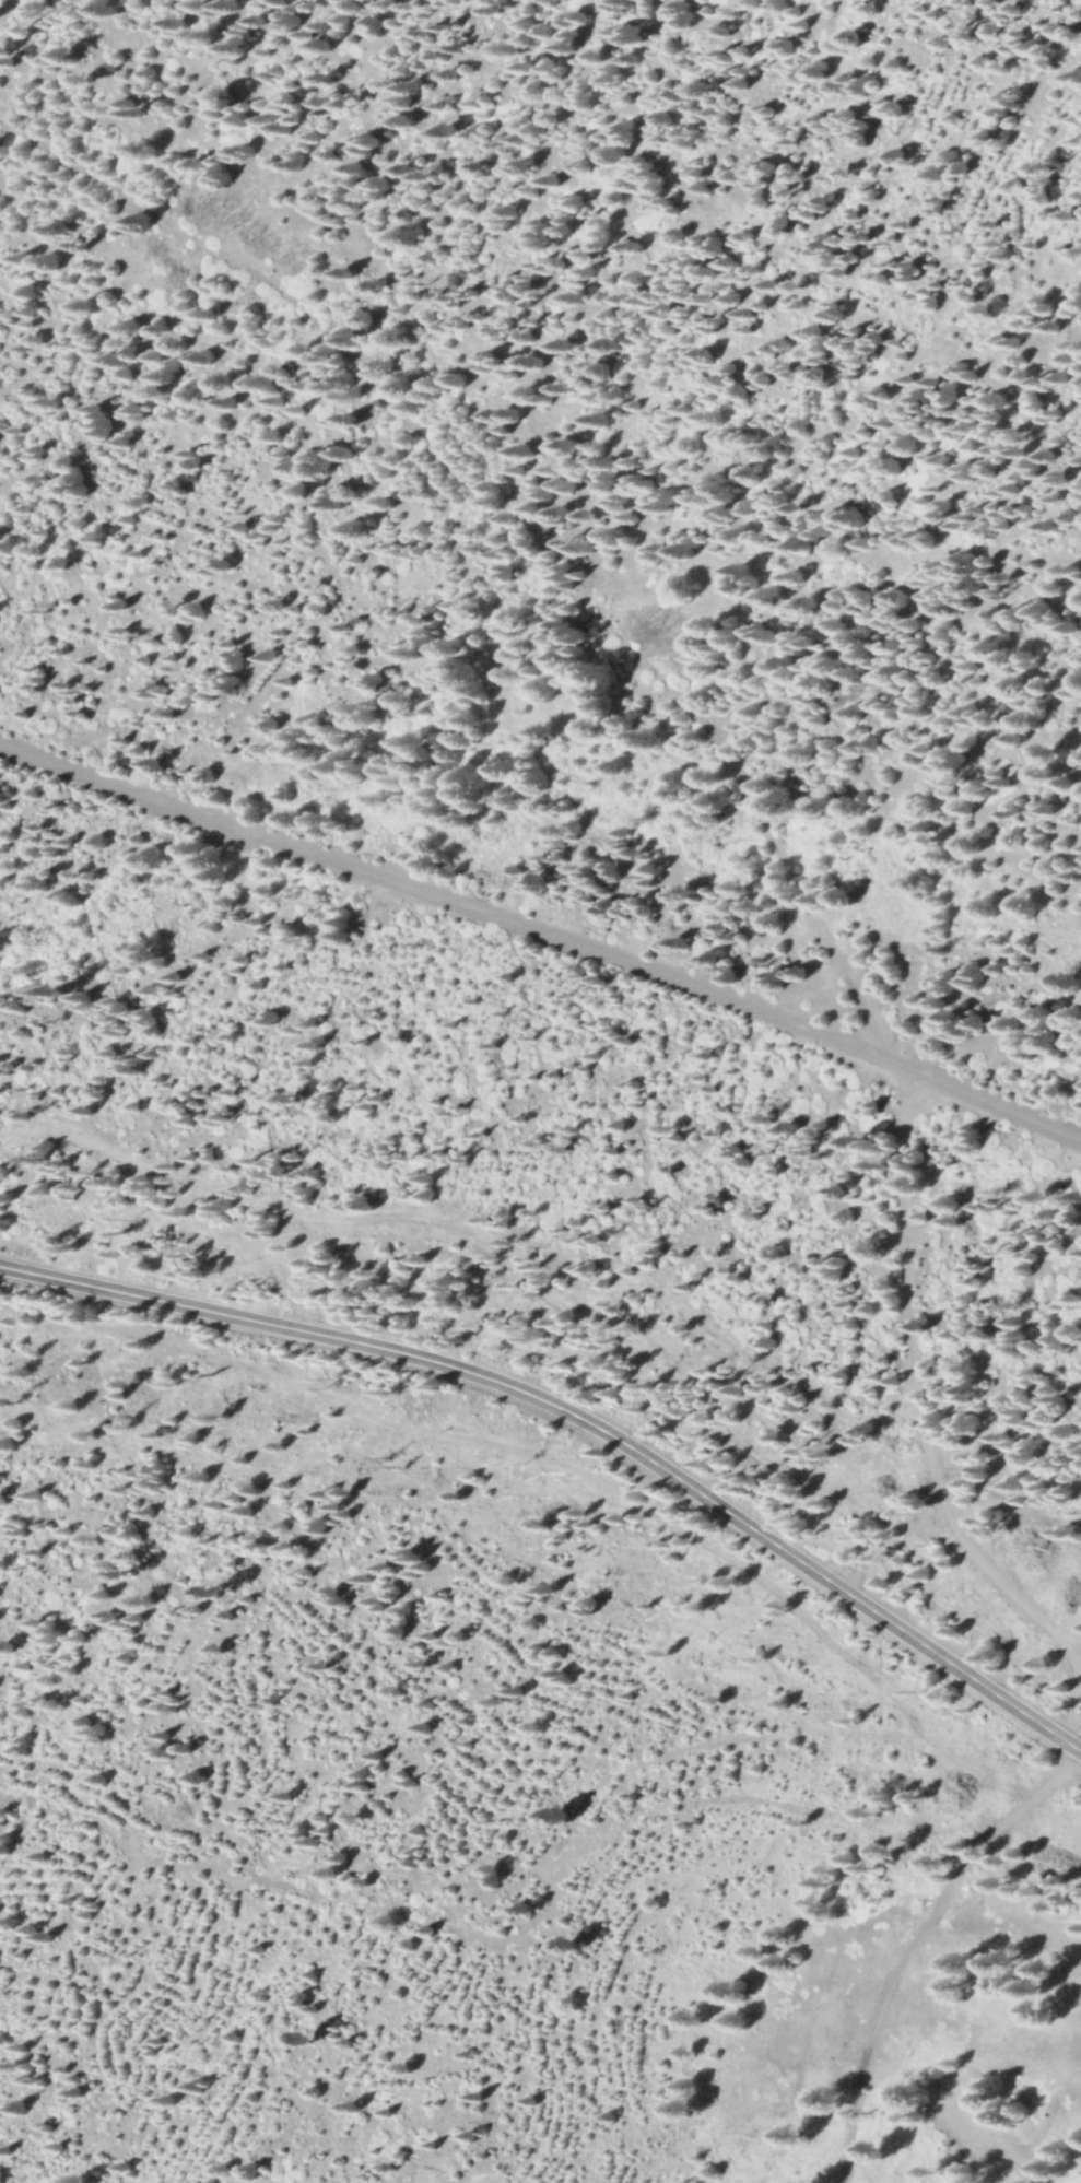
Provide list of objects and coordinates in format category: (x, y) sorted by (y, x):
road: (727, 760)
road: (543, 932)
road: (578, 1417)
road: (913, 1940)

